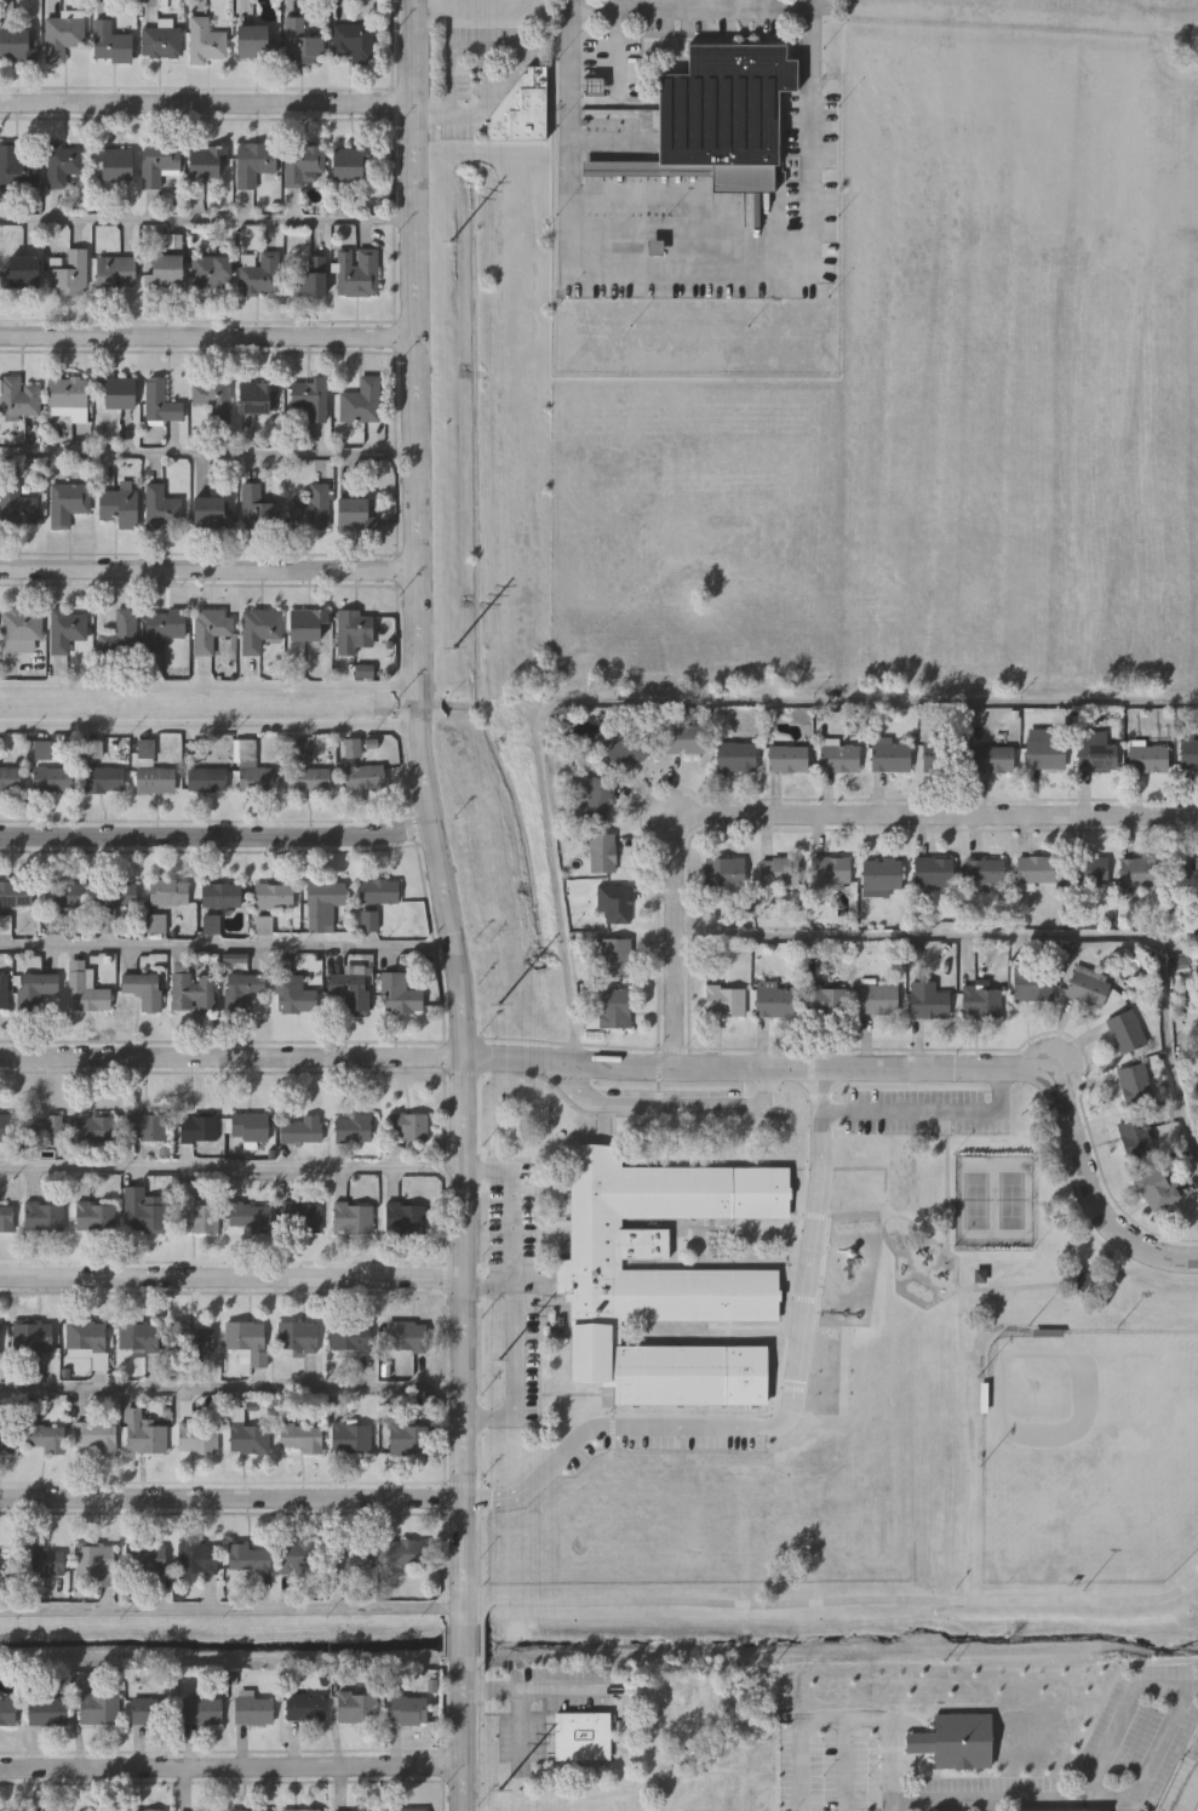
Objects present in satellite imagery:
road: (687, 8)
building: (61, 36)
building: (352, 40)
building: (206, 41)
building: (256, 41)
building: (160, 42)
building: (300, 42)
building: (109, 44)
building: (15, 45)
road: (452, 52)
road: (517, 52)
road: (451, 88)
road: (206, 102)
building: (521, 108)
road: (481, 109)
road: (442, 115)
building: (718, 116)
building: (208, 161)
building: (253, 162)
building: (115, 164)
building: (157, 164)
building: (300, 164)
building: (63, 165)
building: (349, 165)
building: (16, 168)
road: (207, 222)
road: (688, 264)
building: (211, 270)
building: (24, 272)
building: (166, 272)
building: (115, 273)
building: (356, 273)
building: (68, 274)
building: (260, 275)
building: (311, 278)
road: (207, 335)
building: (116, 393)
building: (210, 395)
building: (67, 396)
building: (309, 396)
building: (18, 398)
building: (257, 398)
building: (159, 401)
building: (361, 401)
road: (208, 453)
building: (67, 502)
building: (16, 504)
building: (120, 505)
building: (161, 508)
building: (258, 509)
building: (311, 509)
building: (210, 512)
building: (354, 512)
road: (208, 567)
building: (308, 625)
building: (21, 628)
building: (164, 628)
building: (210, 629)
building: (258, 629)
building: (65, 630)
building: (352, 630)
building: (120, 635)
road: (207, 686)
road: (692, 699)
road: (208, 727)
building: (684, 738)
building: (351, 749)
building: (629, 749)
building: (1045, 753)
building: (1193, 754)
building: (892, 755)
building: (1096, 755)
building: (736, 756)
building: (944, 756)
building: (787, 758)
building: (839, 758)
building: (997, 758)
building: (1147, 758)
building: (52, 778)
building: (365, 778)
building: (10, 779)
building: (103, 779)
building: (154, 779)
building: (206, 779)
building: (259, 779)
building: (310, 779)
building: (596, 798)
road: (430, 810)
road: (816, 813)
road: (217, 834)
building: (602, 852)
building: (1036, 868)
building: (1089, 868)
building: (830, 869)
building: (984, 869)
building: (778, 870)
building: (933, 870)
building: (1140, 870)
building: (724, 872)
building: (1197, 872)
building: (881, 875)
building: (377, 890)
building: (168, 891)
building: (16, 892)
building: (115, 892)
building: (64, 893)
building: (220, 895)
building: (273, 895)
building: (614, 902)
building: (323, 903)
road: (1034, 936)
road: (225, 946)
building: (614, 956)
building: (81, 983)
building: (1032, 983)
building: (1088, 987)
building: (39, 988)
building: (4, 989)
building: (191, 990)
building: (290, 990)
building: (242, 992)
building: (350, 992)
building: (148, 993)
building: (399, 994)
building: (878, 998)
building: (724, 999)
building: (775, 999)
building: (826, 999)
building: (928, 999)
building: (980, 1000)
building: (614, 1006)
building: (1127, 1029)
road: (653, 1064)
road: (564, 1084)
building: (1134, 1084)
road: (689, 1107)
road: (928, 1114)
building: (5, 1126)
building: (147, 1126)
building: (250, 1126)
building: (408, 1126)
building: (44, 1127)
building: (96, 1127)
building: (352, 1127)
building: (197, 1129)
building: (302, 1129)
building: (1136, 1136)
road: (231, 1170)
building: (1157, 1188)
road: (508, 1209)
building: (143, 1212)
building: (5, 1215)
building: (44, 1216)
building: (94, 1216)
building: (300, 1216)
building: (199, 1217)
building: (250, 1217)
building: (352, 1217)
building: (407, 1218)
road: (231, 1275)
road: (1176, 1275)
road: (485, 1278)
building: (649, 1279)
building: (1081, 1280)
road: (971, 1287)
building: (85, 1335)
building: (297, 1335)
building: (406, 1335)
building: (0, 1336)
building: (30, 1336)
building: (138, 1336)
building: (191, 1336)
building: (350, 1336)
building: (246, 1338)
road: (508, 1371)
road: (231, 1384)
park: (1025, 1384)
road: (779, 1412)
building: (144, 1433)
building: (5, 1436)
building: (41, 1436)
building: (94, 1436)
building: (197, 1436)
building: (300, 1436)
building: (351, 1436)
building: (250, 1438)
building: (414, 1439)
road: (965, 1444)
park: (1089, 1457)
road: (231, 1496)
building: (406, 1553)
building: (299, 1555)
building: (354, 1555)
building: (197, 1556)
building: (247, 1558)
building: (42, 1559)
building: (147, 1560)
building: (6, 1561)
building: (94, 1561)
road: (838, 1600)
road: (231, 1609)
road: (478, 1636)
road: (463, 1639)
road: (1190, 1686)
road: (540, 1689)
building: (304, 1706)
building: (355, 1706)
building: (97, 1707)
building: (406, 1708)
building: (46, 1709)
building: (148, 1709)
building: (201, 1709)
building: (252, 1709)
building: (7, 1710)
road: (837, 1715)
road: (518, 1723)
road: (463, 1735)
road: (478, 1735)
building: (581, 1736)
building: (953, 1741)
road: (231, 1764)
road: (1187, 1790)
road: (985, 1799)
road: (988, 1805)
building: (144, 1809)
building: (298, 1809)
building: (405, 1809)
building: (5, 1810)
building: (41, 1810)
building: (195, 1810)
building: (247, 1810)
building: (350, 1810)
building: (1197, 1810)

